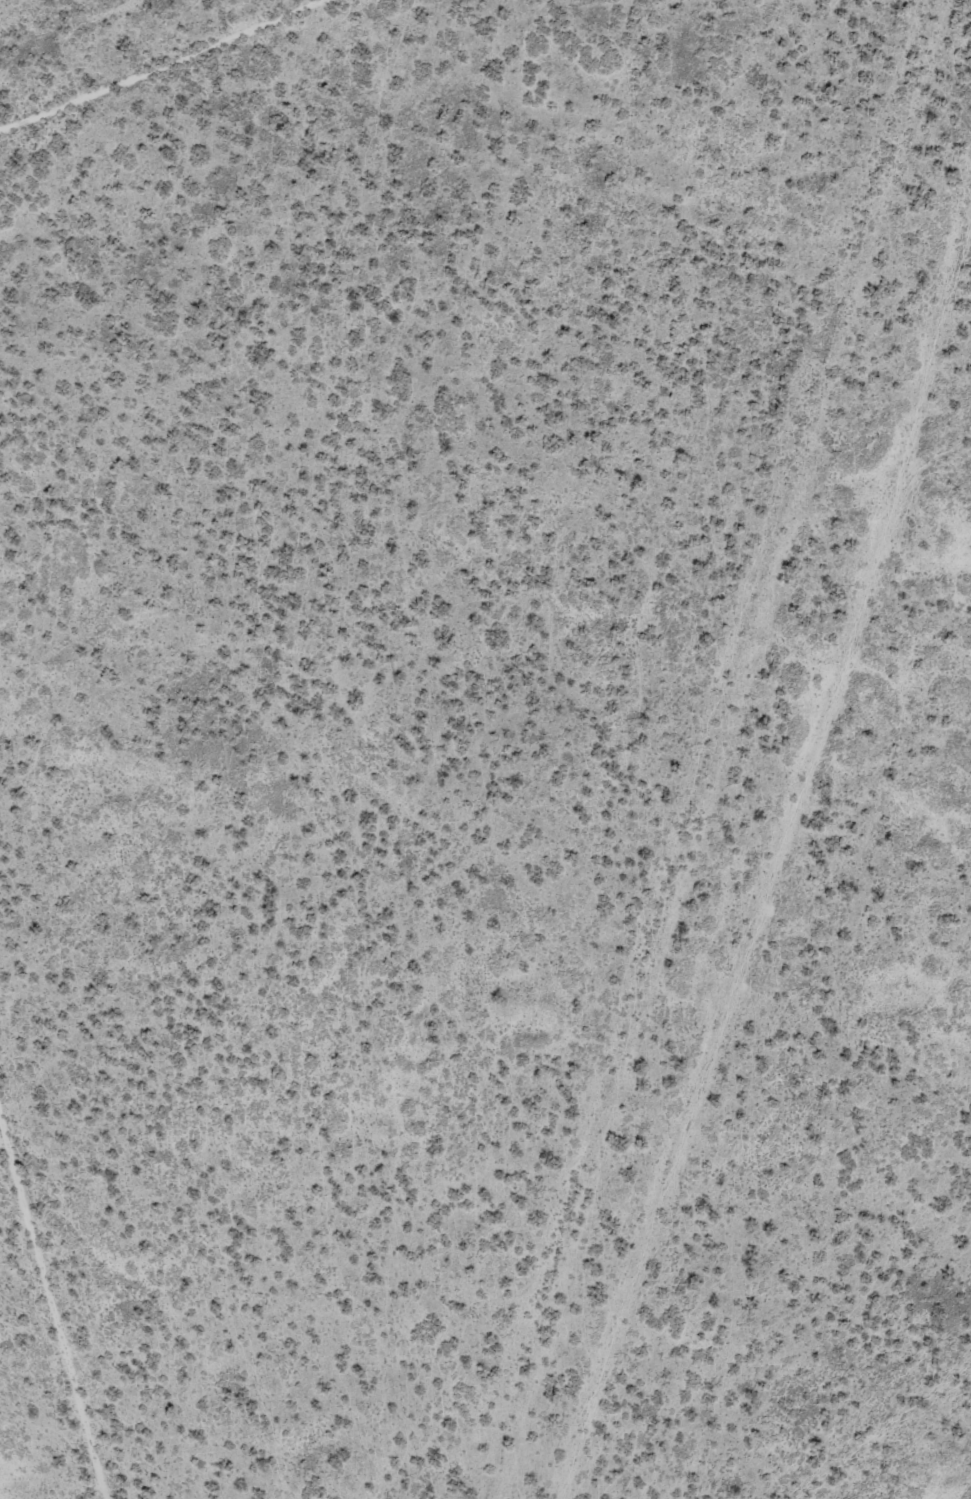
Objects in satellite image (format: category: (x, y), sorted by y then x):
road: (51, 1310)

